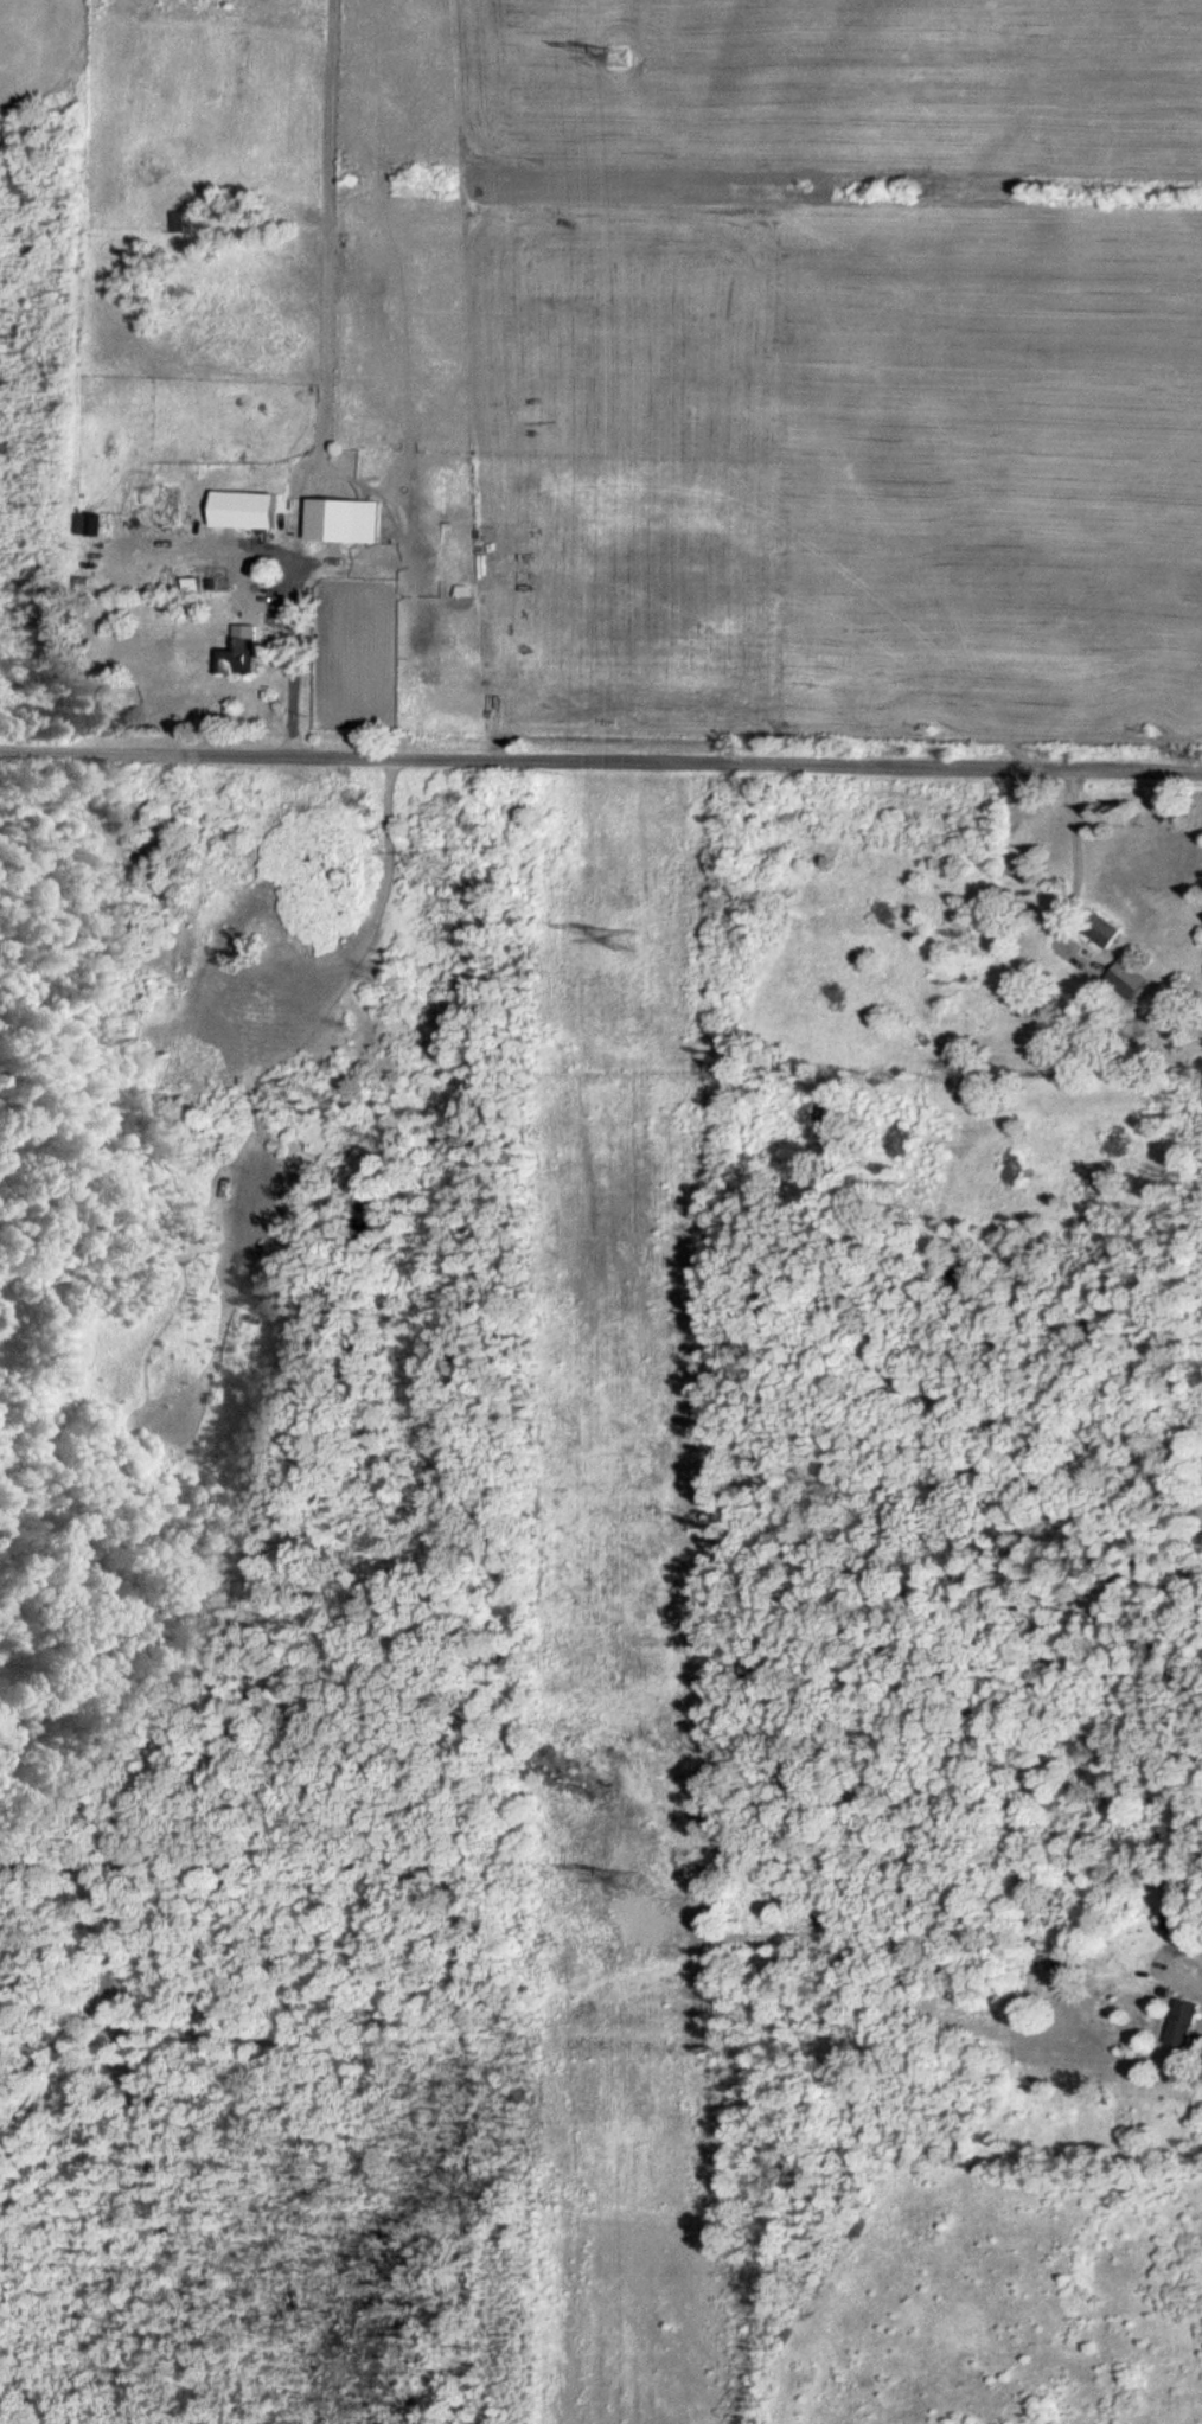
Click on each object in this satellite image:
power tower: (621, 60)
building: (183, 220)
building: (168, 500)
building: (347, 520)
building: (90, 524)
road: (274, 582)
building: (242, 657)
road: (601, 757)
road: (1069, 857)
building: (1106, 930)
power tower: (625, 940)
building: (1130, 980)
power tower: (640, 1883)
building: (1174, 1921)
road: (1183, 1975)
building: (1187, 2025)

